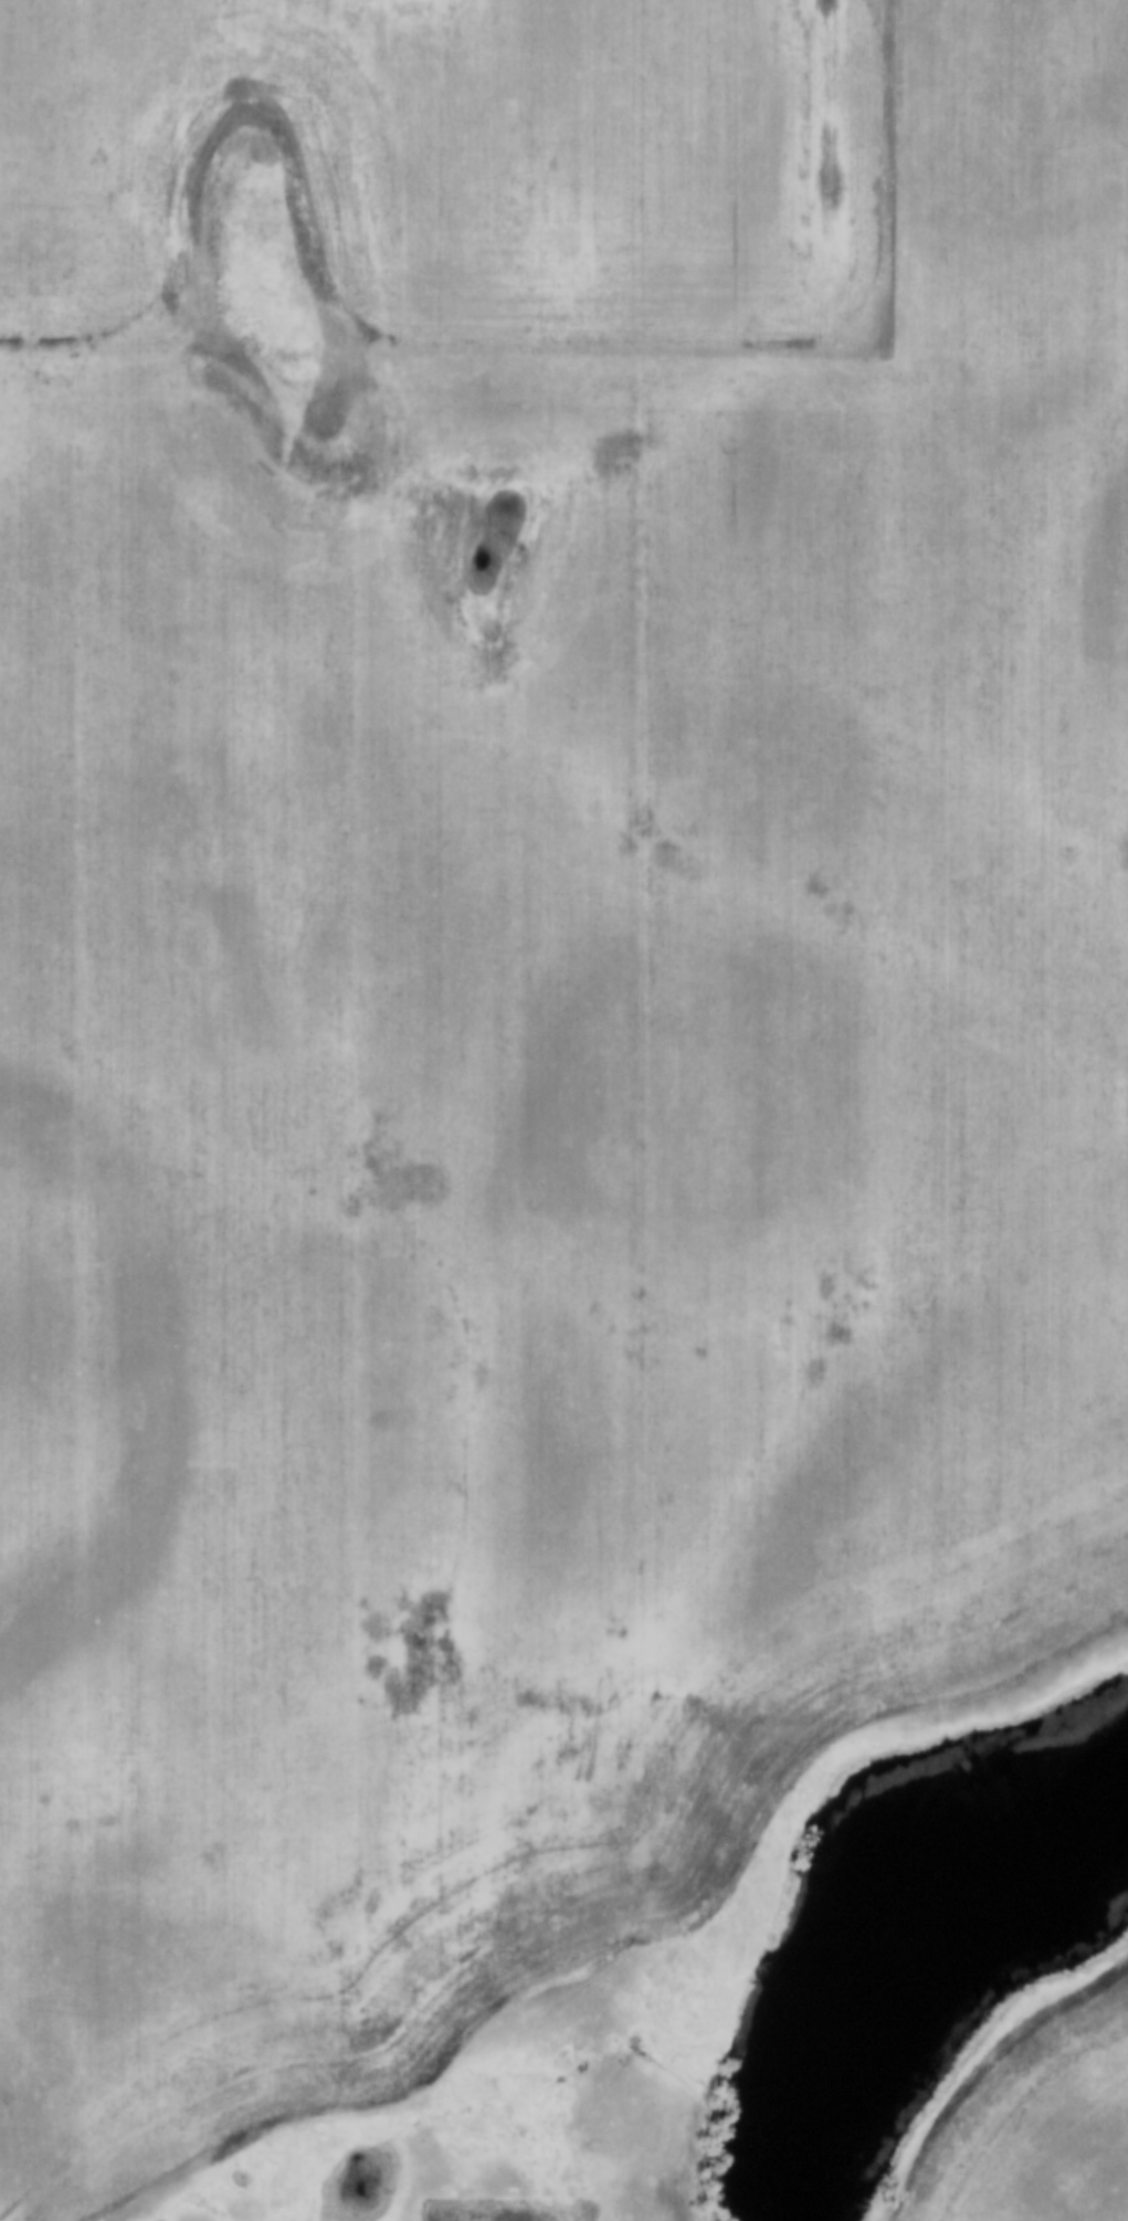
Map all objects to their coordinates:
dam: (709, 2208)

